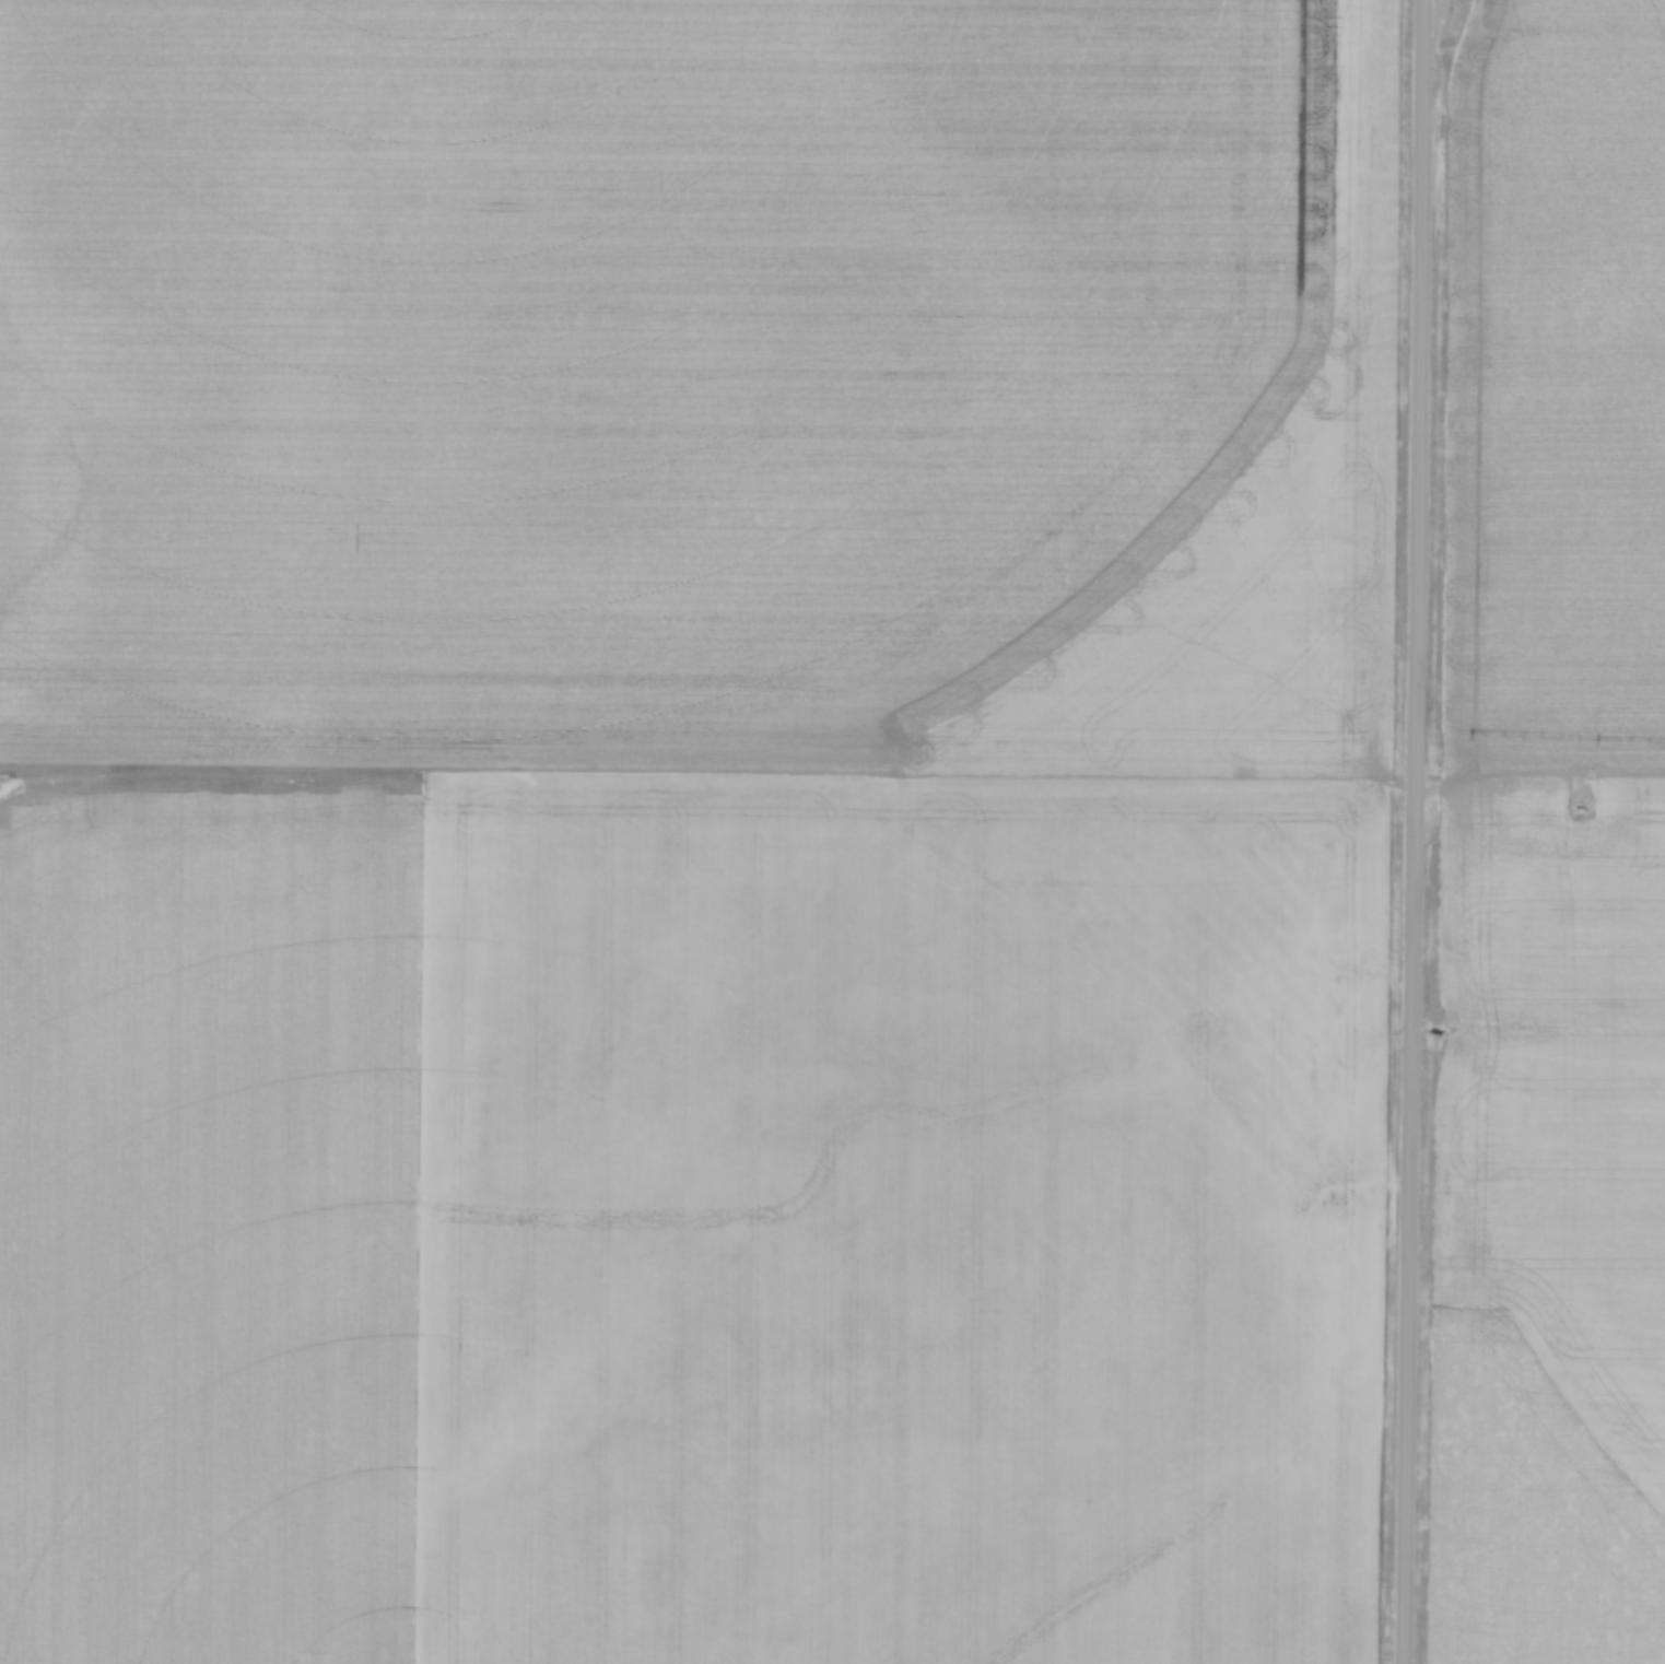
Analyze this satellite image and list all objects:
road: (1414, 832)

